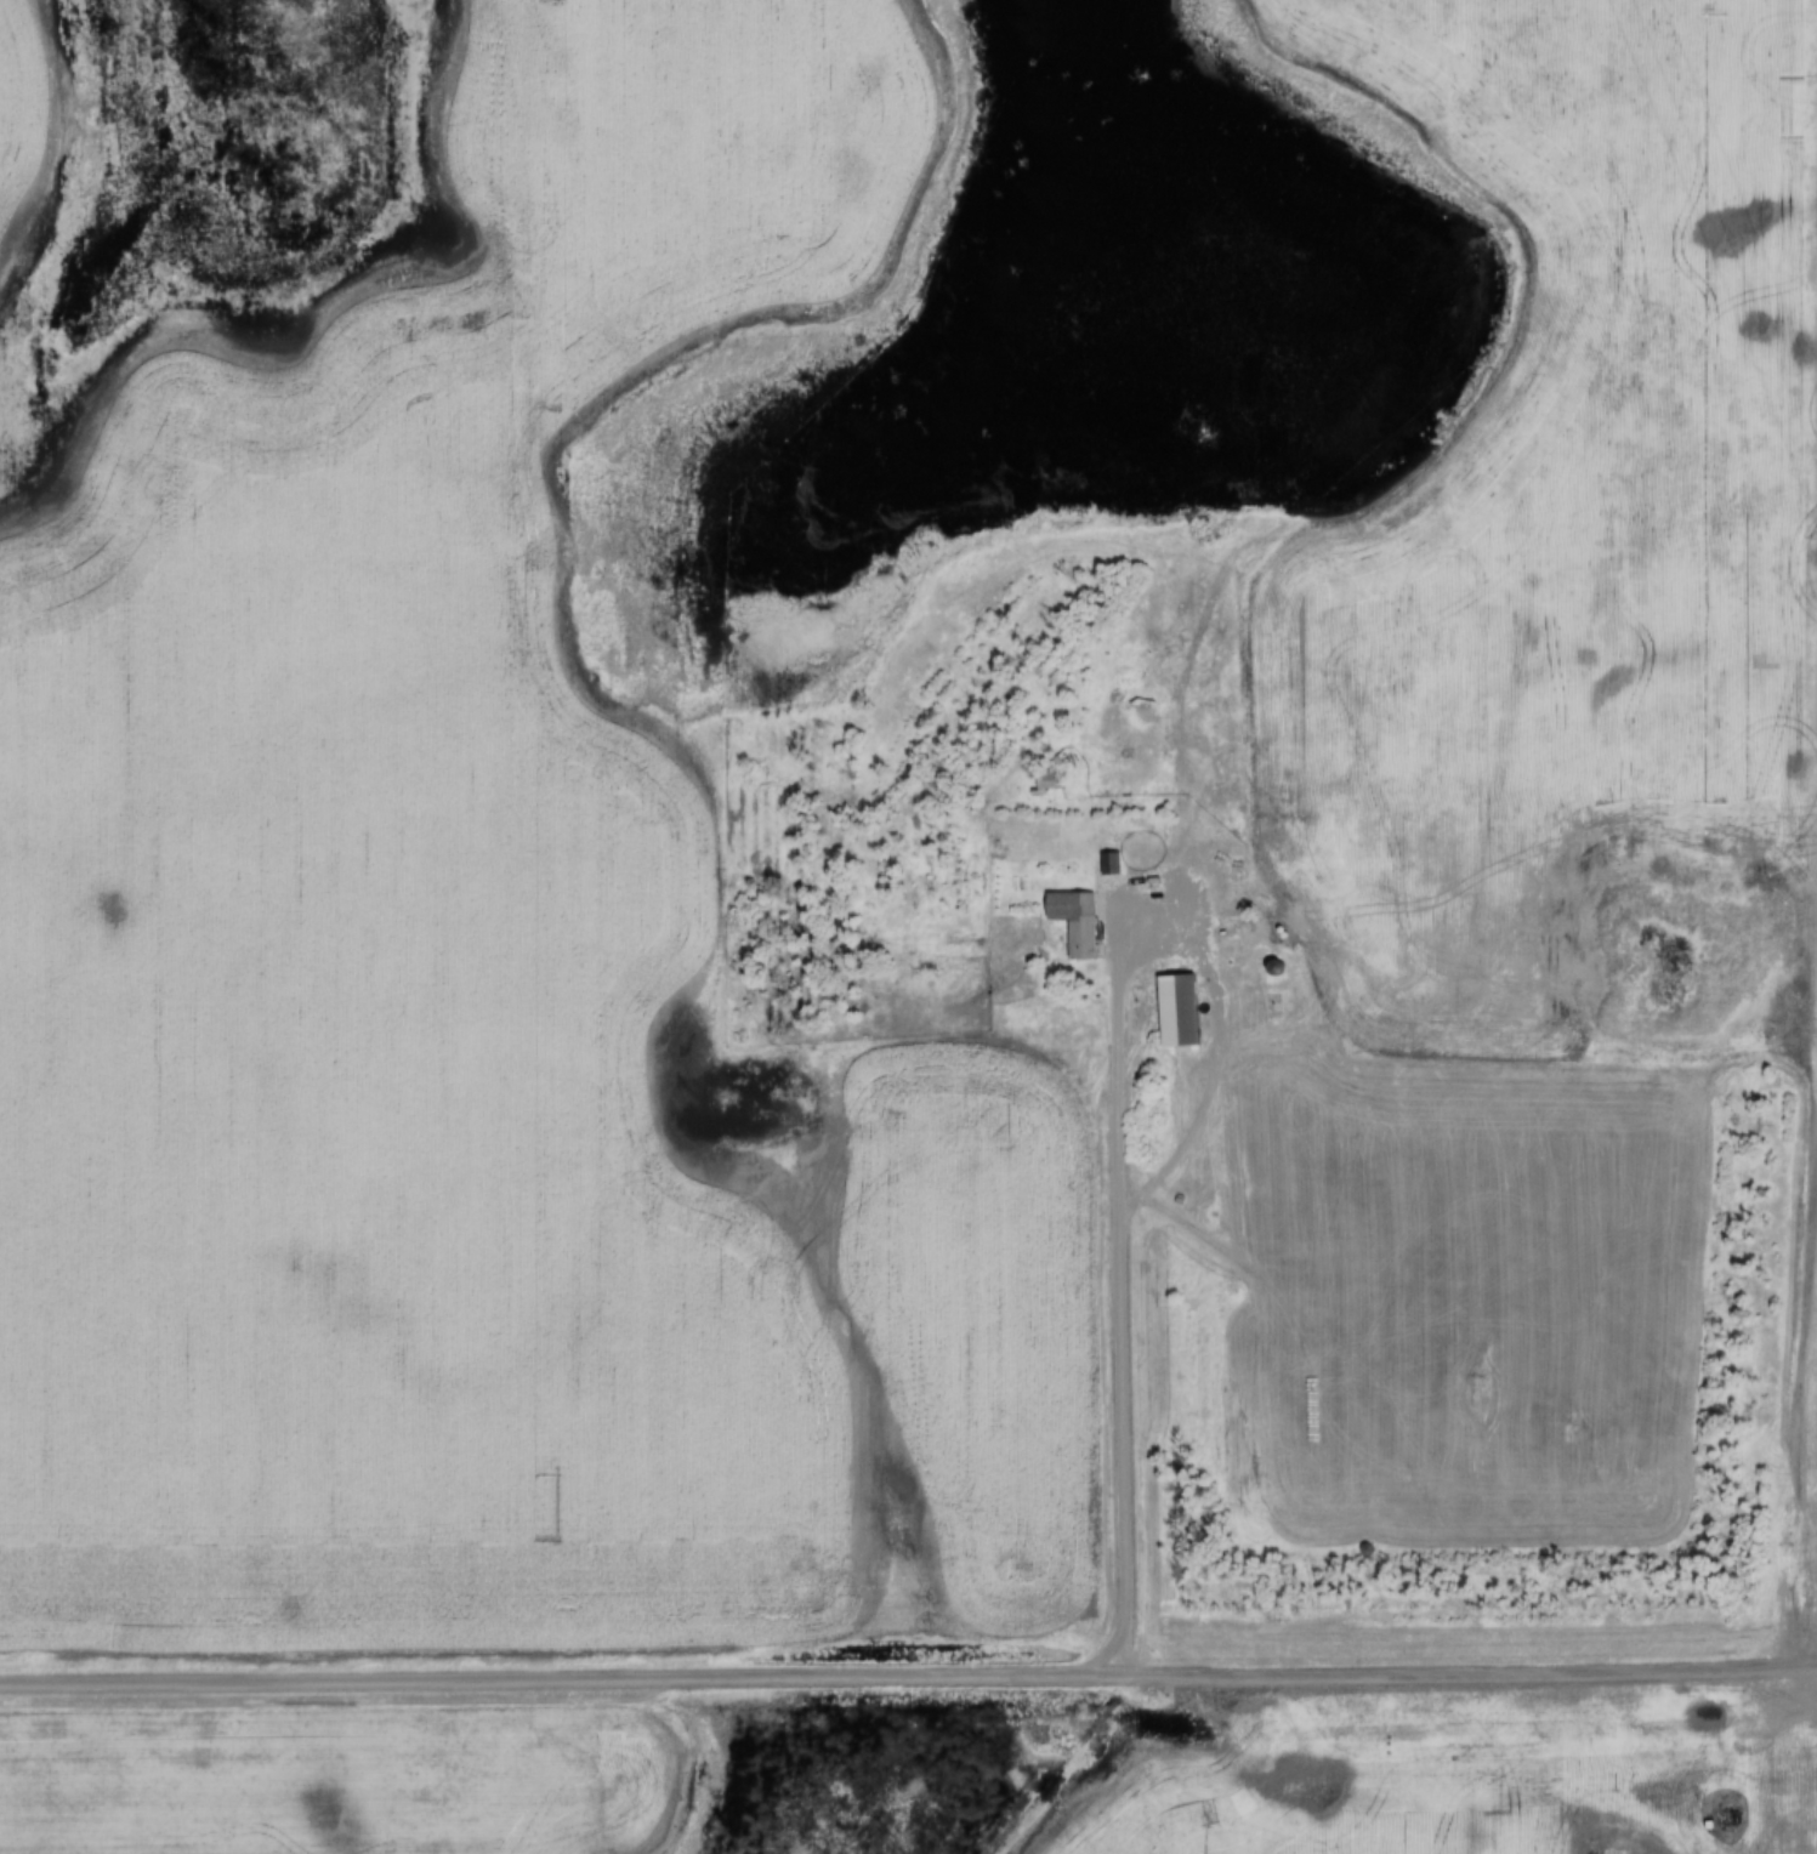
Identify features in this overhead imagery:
building: (1044, 781)
building: (1109, 863)
building: (1074, 921)
building: (1176, 1010)
road: (1120, 1281)
road: (908, 1678)

